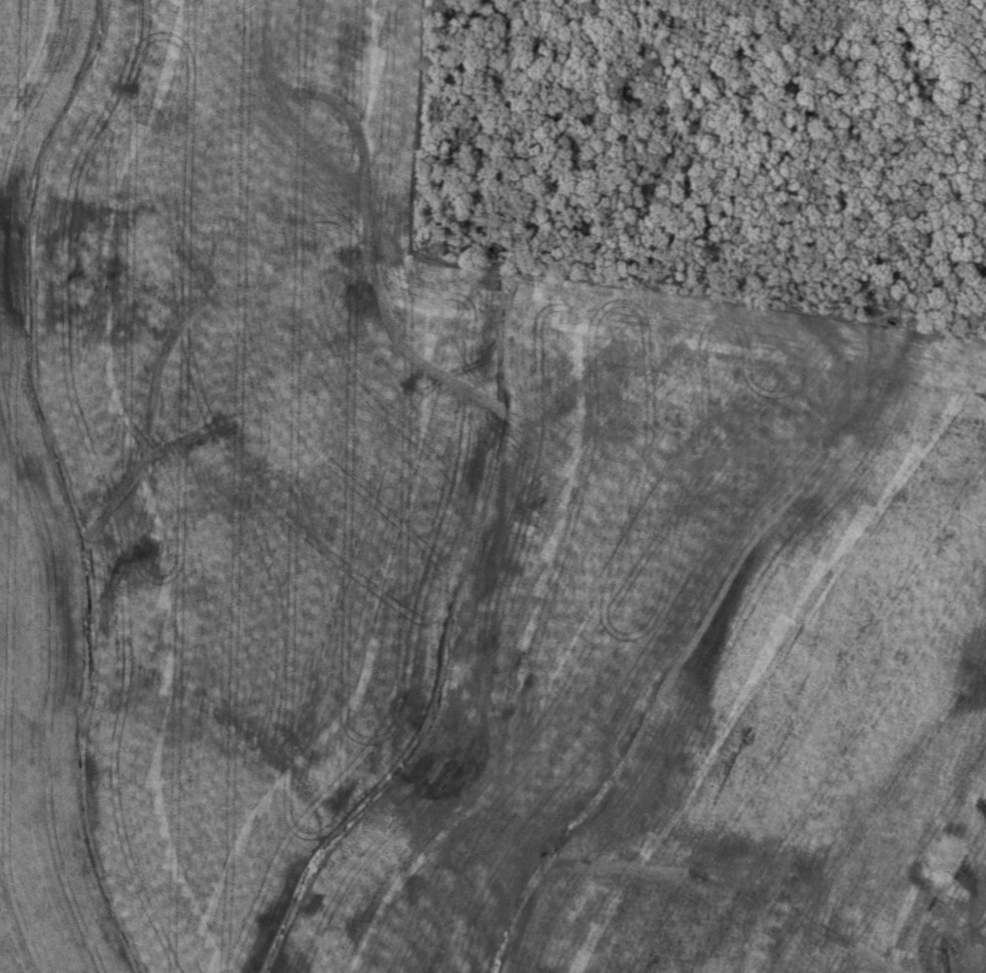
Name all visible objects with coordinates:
crop: (445, 558)

